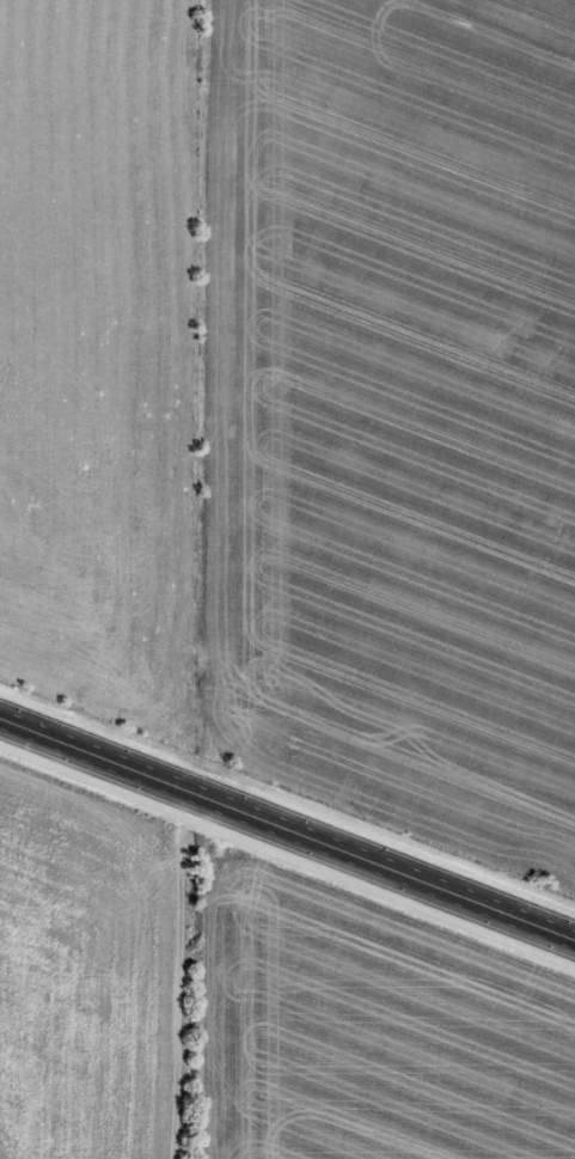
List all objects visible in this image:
road: (288, 824)

